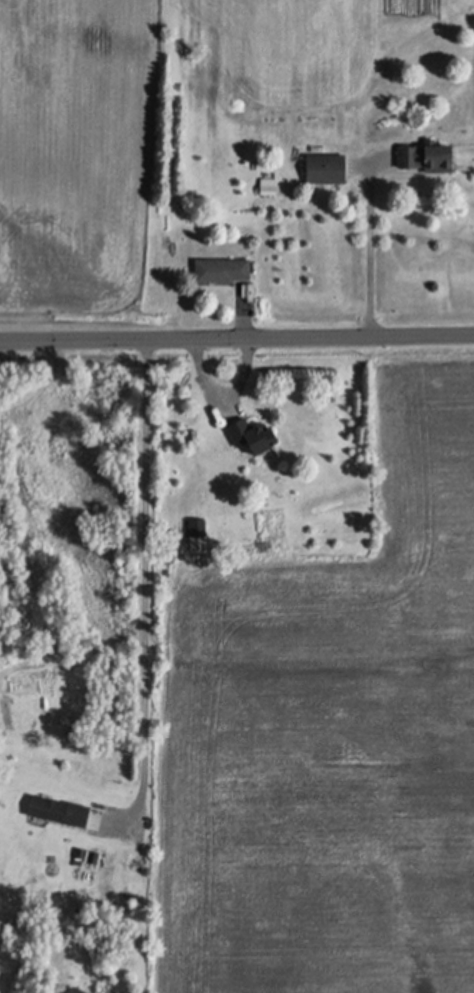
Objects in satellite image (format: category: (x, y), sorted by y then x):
building: (428, 154)
building: (327, 166)
building: (269, 184)
building: (167, 238)
road: (369, 247)
building: (222, 267)
road: (236, 336)
building: (253, 432)
building: (199, 533)
building: (169, 553)
road: (142, 574)
building: (59, 807)
building: (82, 851)
building: (93, 855)
building: (140, 943)

